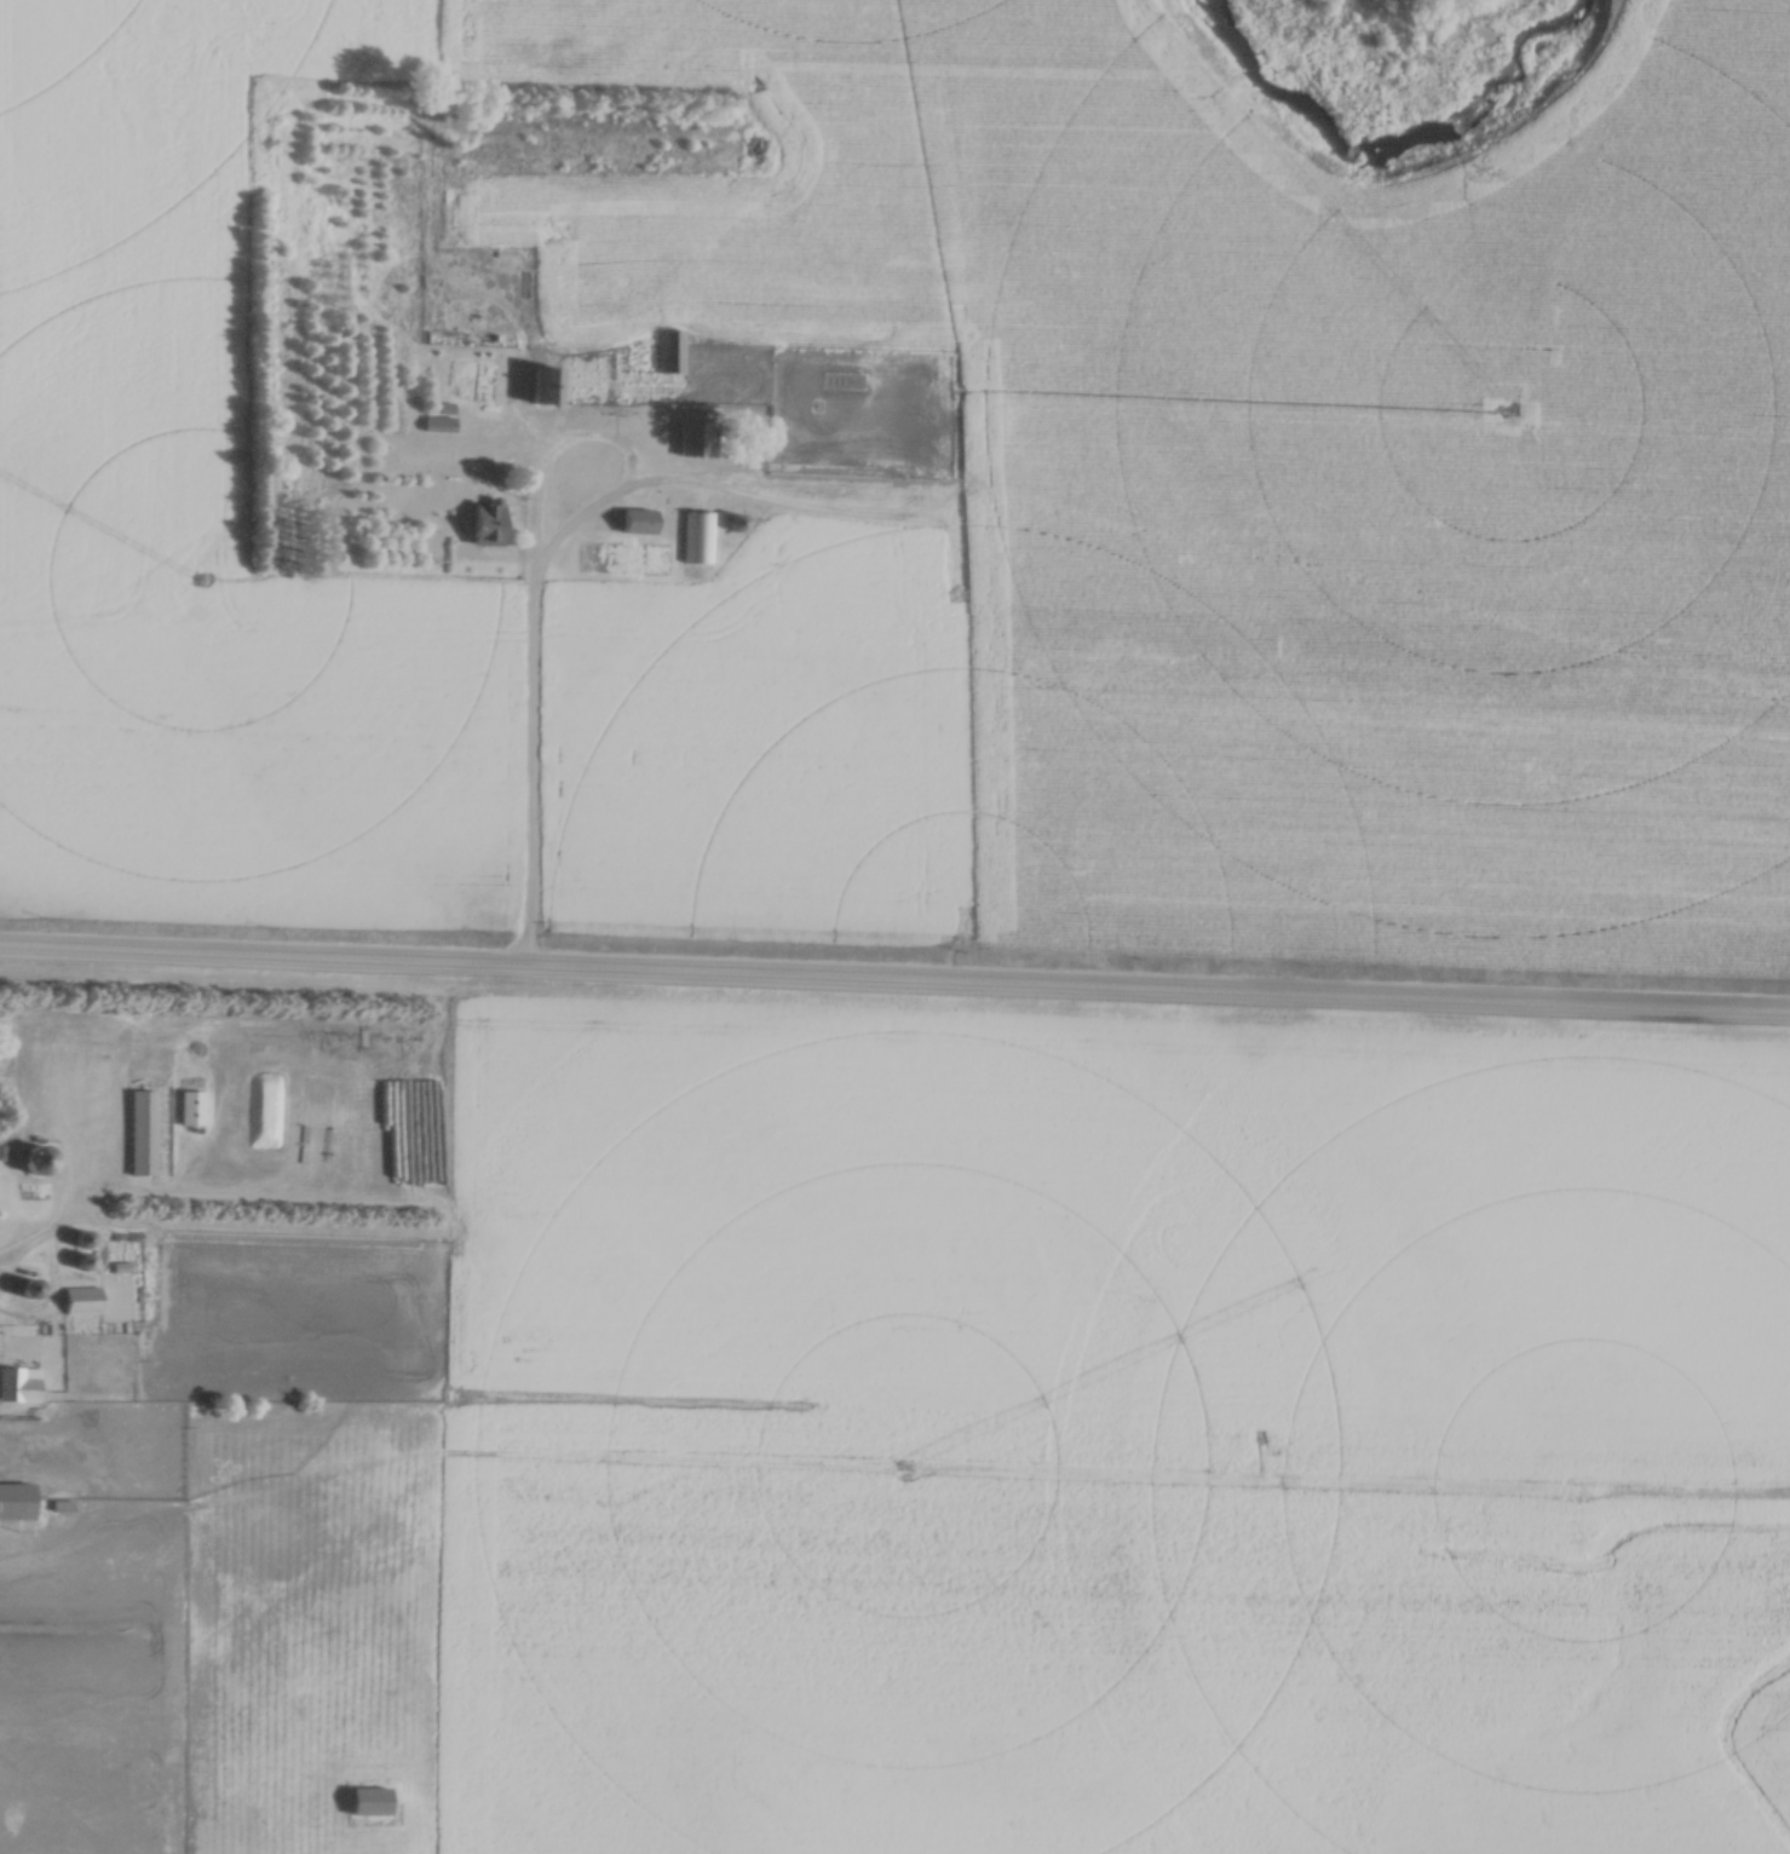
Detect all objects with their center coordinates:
building: (841, 269)
building: (670, 351)
building: (545, 387)
building: (438, 425)
building: (698, 441)
building: (637, 522)
building: (698, 537)
road: (537, 730)
road: (894, 988)
building: (190, 1106)
building: (142, 1132)
building: (178, 1146)
building: (36, 1157)
building: (349, 1157)
building: (81, 1301)
building: (18, 1384)
building: (16, 1501)
building: (369, 1802)

